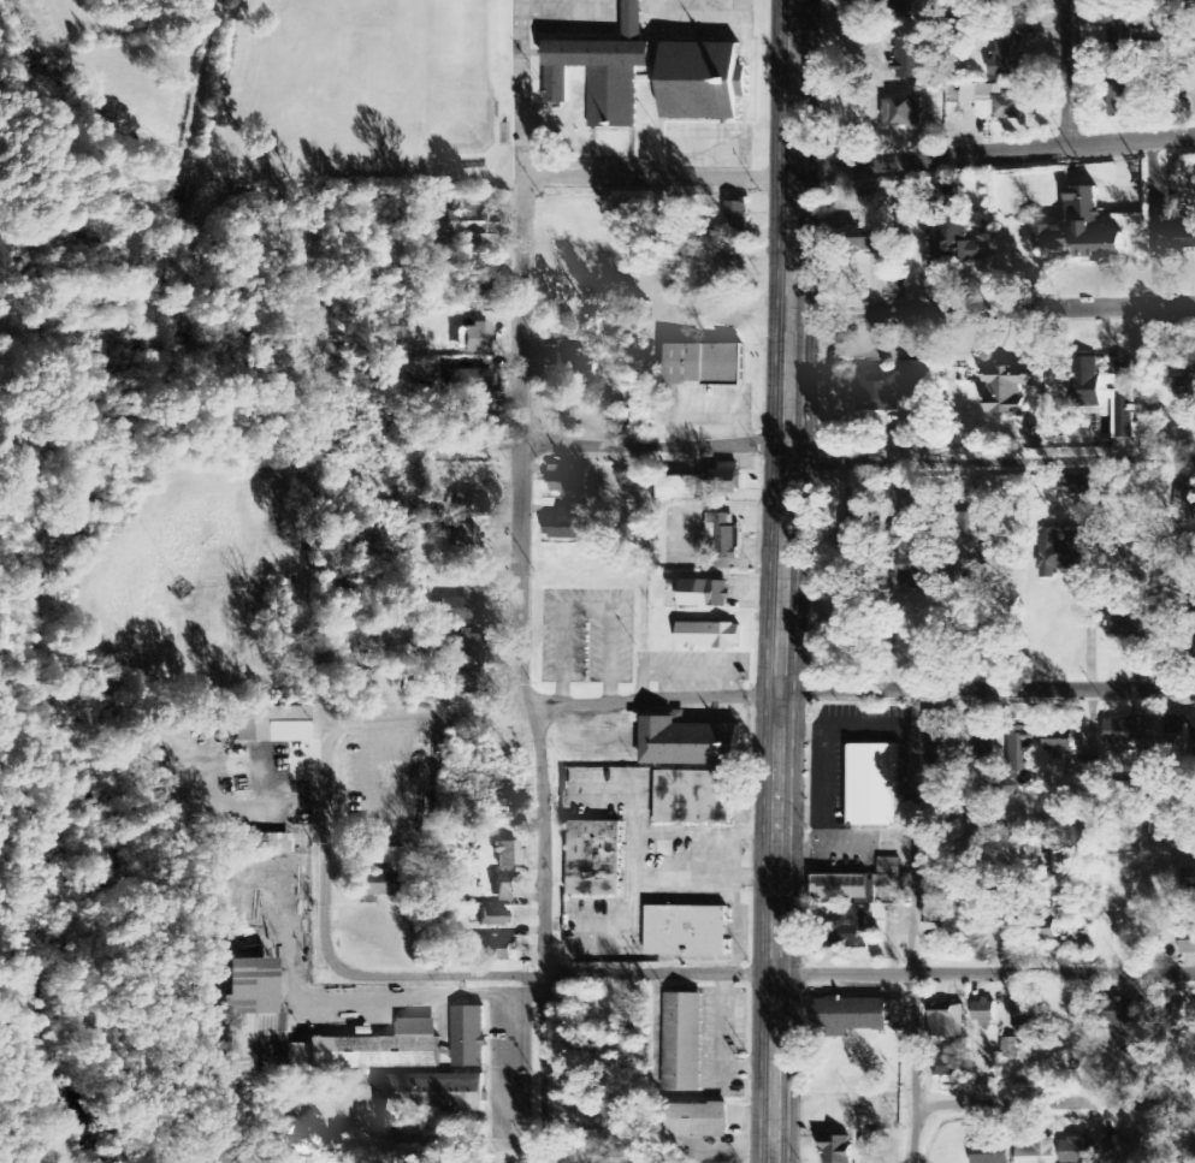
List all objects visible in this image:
building: (1012, 2)
building: (1119, 36)
building: (1159, 41)
building: (909, 55)
building: (1007, 55)
building: (603, 69)
road: (1067, 73)
building: (705, 79)
building: (999, 102)
building: (1119, 102)
building: (906, 112)
road: (909, 162)
building: (951, 195)
building: (870, 196)
building: (736, 219)
building: (468, 224)
building: (1081, 229)
building: (1176, 231)
building: (954, 238)
building: (865, 241)
building: (732, 267)
building: (469, 292)
road: (990, 309)
building: (474, 338)
building: (703, 364)
building: (473, 380)
building: (1008, 387)
building: (880, 392)
building: (1106, 392)
road: (520, 396)
building: (1034, 438)
road: (652, 444)
road: (989, 464)
building: (567, 481)
building: (723, 481)
building: (1081, 486)
building: (676, 488)
building: (1189, 503)
building: (465, 504)
building: (851, 504)
building: (566, 526)
building: (848, 532)
building: (461, 535)
building: (723, 536)
building: (1064, 548)
building: (981, 553)
road: (780, 581)
building: (703, 594)
building: (461, 609)
building: (1126, 624)
building: (708, 636)
building: (460, 646)
building: (1194, 647)
building: (465, 683)
road: (761, 693)
building: (270, 725)
building: (1178, 725)
building: (1123, 732)
building: (687, 743)
building: (1060, 743)
building: (984, 747)
building: (1019, 758)
building: (874, 785)
building: (693, 799)
building: (258, 844)
road: (324, 848)
building: (505, 854)
building: (383, 856)
building: (594, 859)
building: (888, 874)
building: (1189, 879)
building: (504, 888)
building: (840, 888)
building: (939, 908)
building: (490, 918)
road: (913, 926)
building: (686, 932)
road: (543, 933)
building: (847, 936)
building: (1187, 942)
building: (501, 950)
road: (759, 972)
building: (983, 1014)
building: (851, 1015)
building: (1117, 1015)
building: (254, 1017)
building: (1025, 1020)
building: (947, 1023)
building: (468, 1038)
building: (682, 1044)
building: (1010, 1049)
building: (950, 1068)
building: (430, 1093)
road: (1055, 1103)
building: (596, 1120)
building: (697, 1121)
building: (1125, 1149)
building: (835, 1150)
building: (1078, 1151)
building: (1037, 1152)
building: (989, 1153)
road: (347, 1158)

